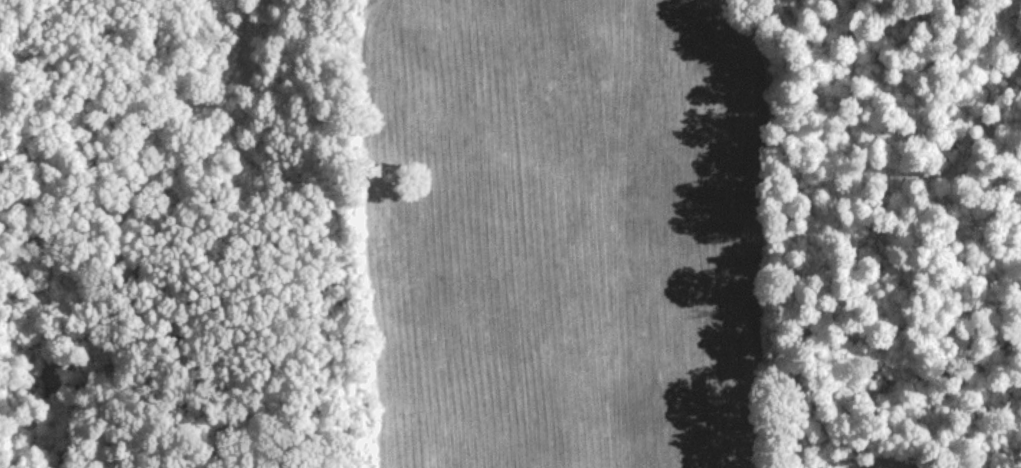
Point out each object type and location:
road: (864, 229)

